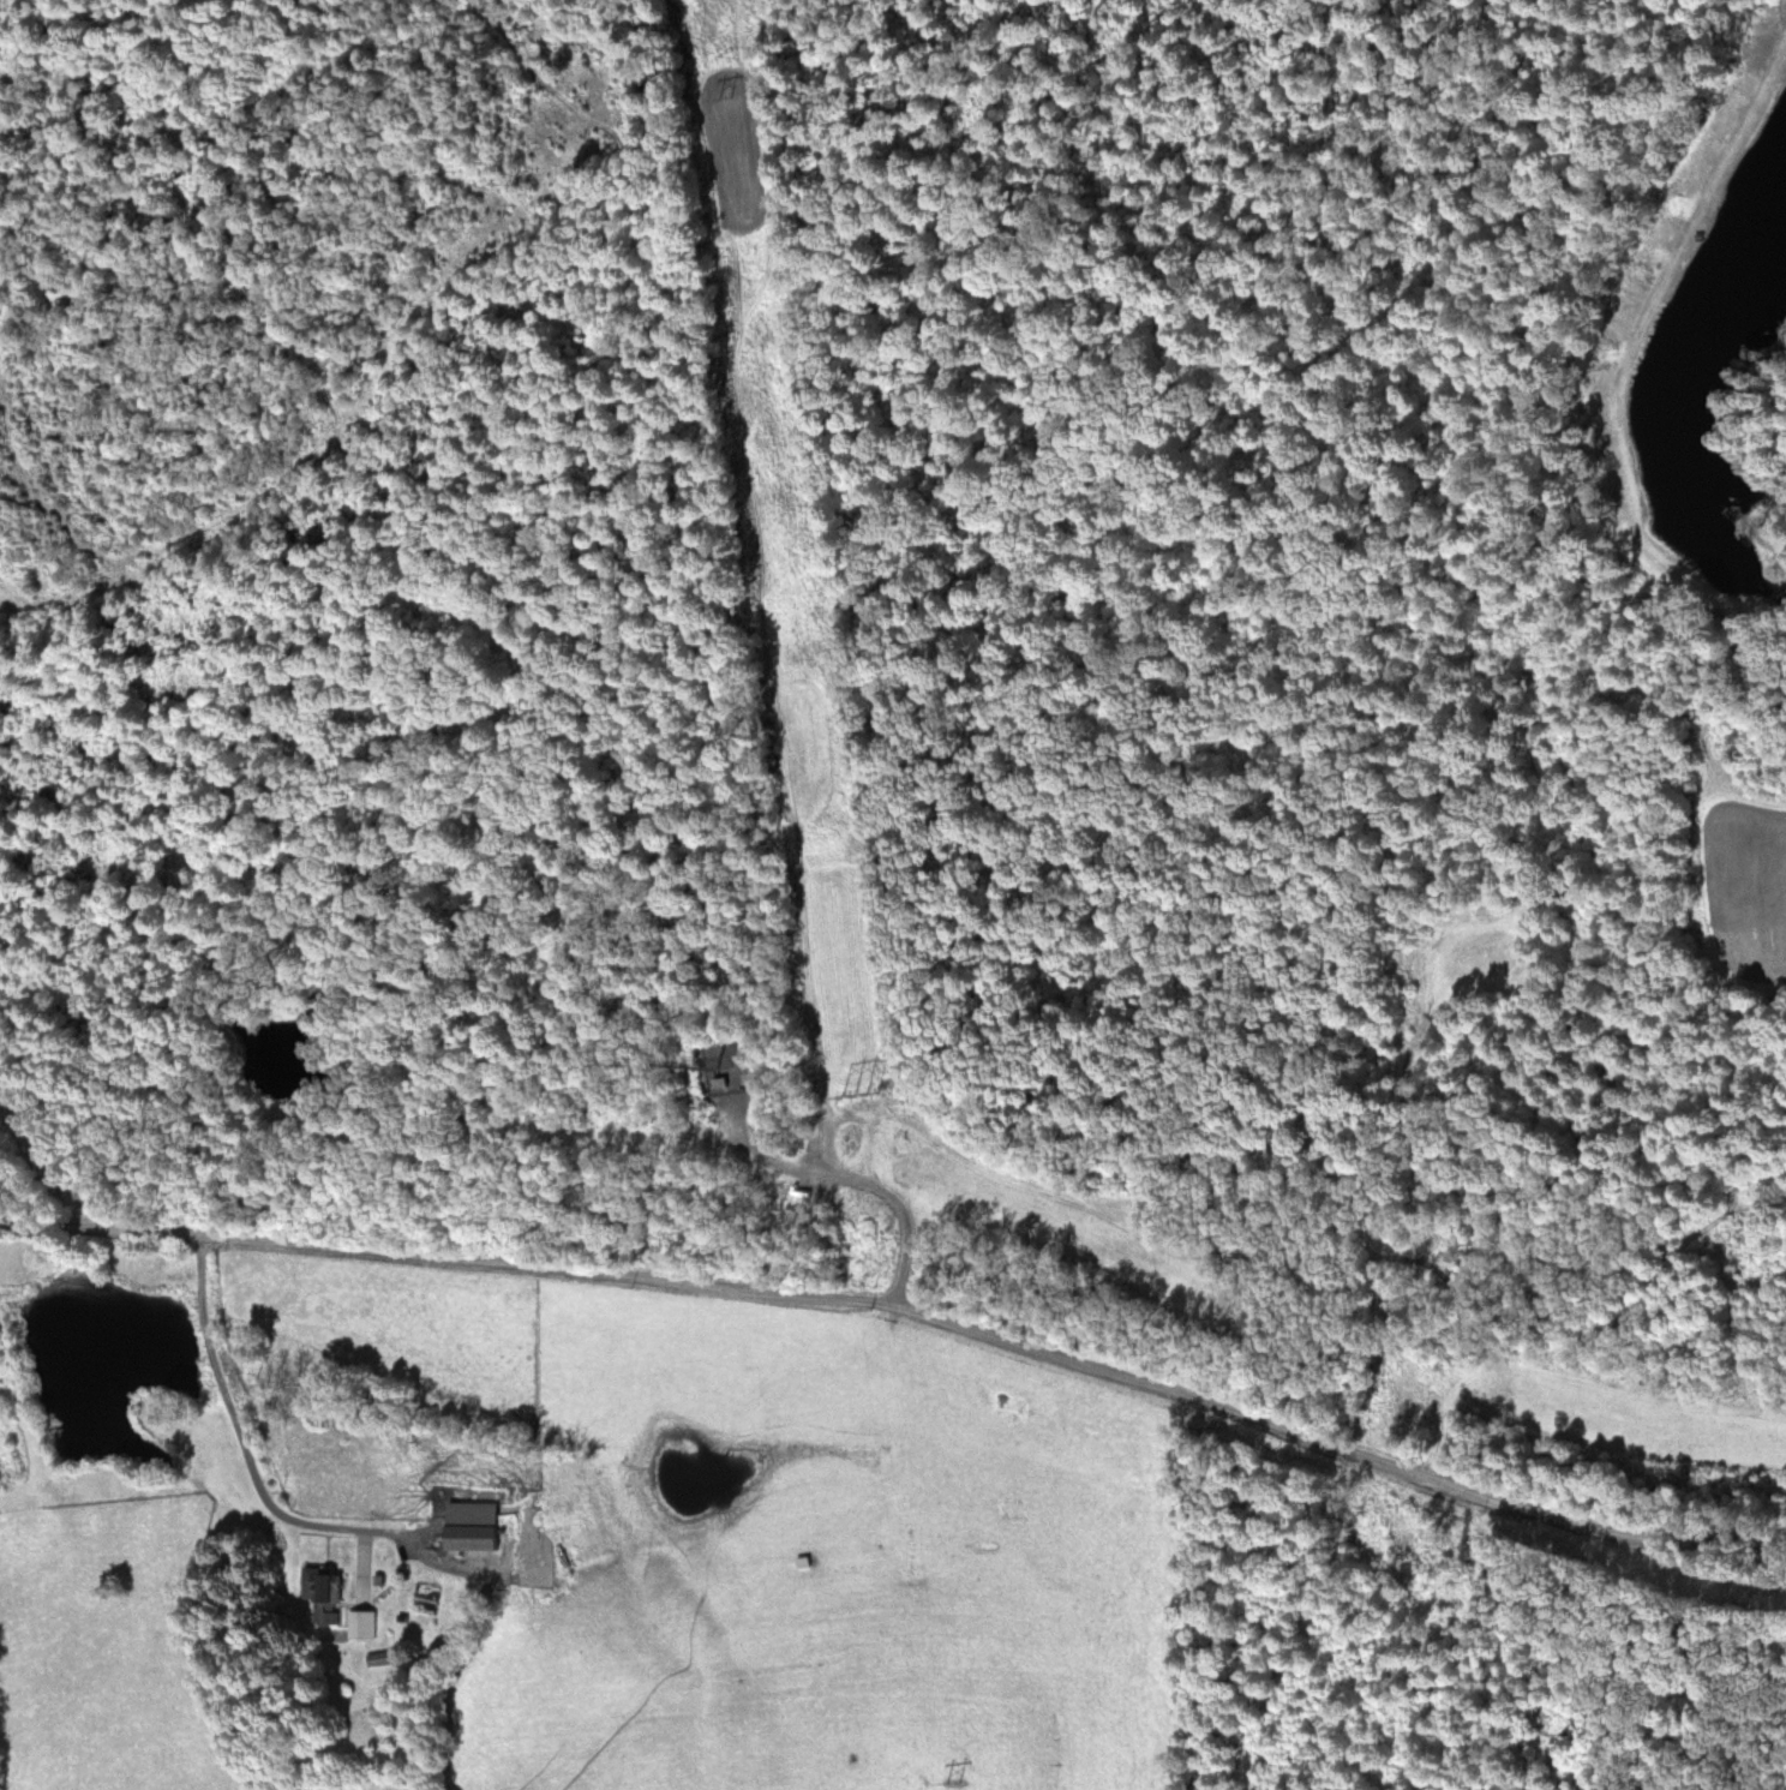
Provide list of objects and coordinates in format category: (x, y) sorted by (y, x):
power tower: (859, 1091)
road: (907, 1306)
building: (322, 1592)

